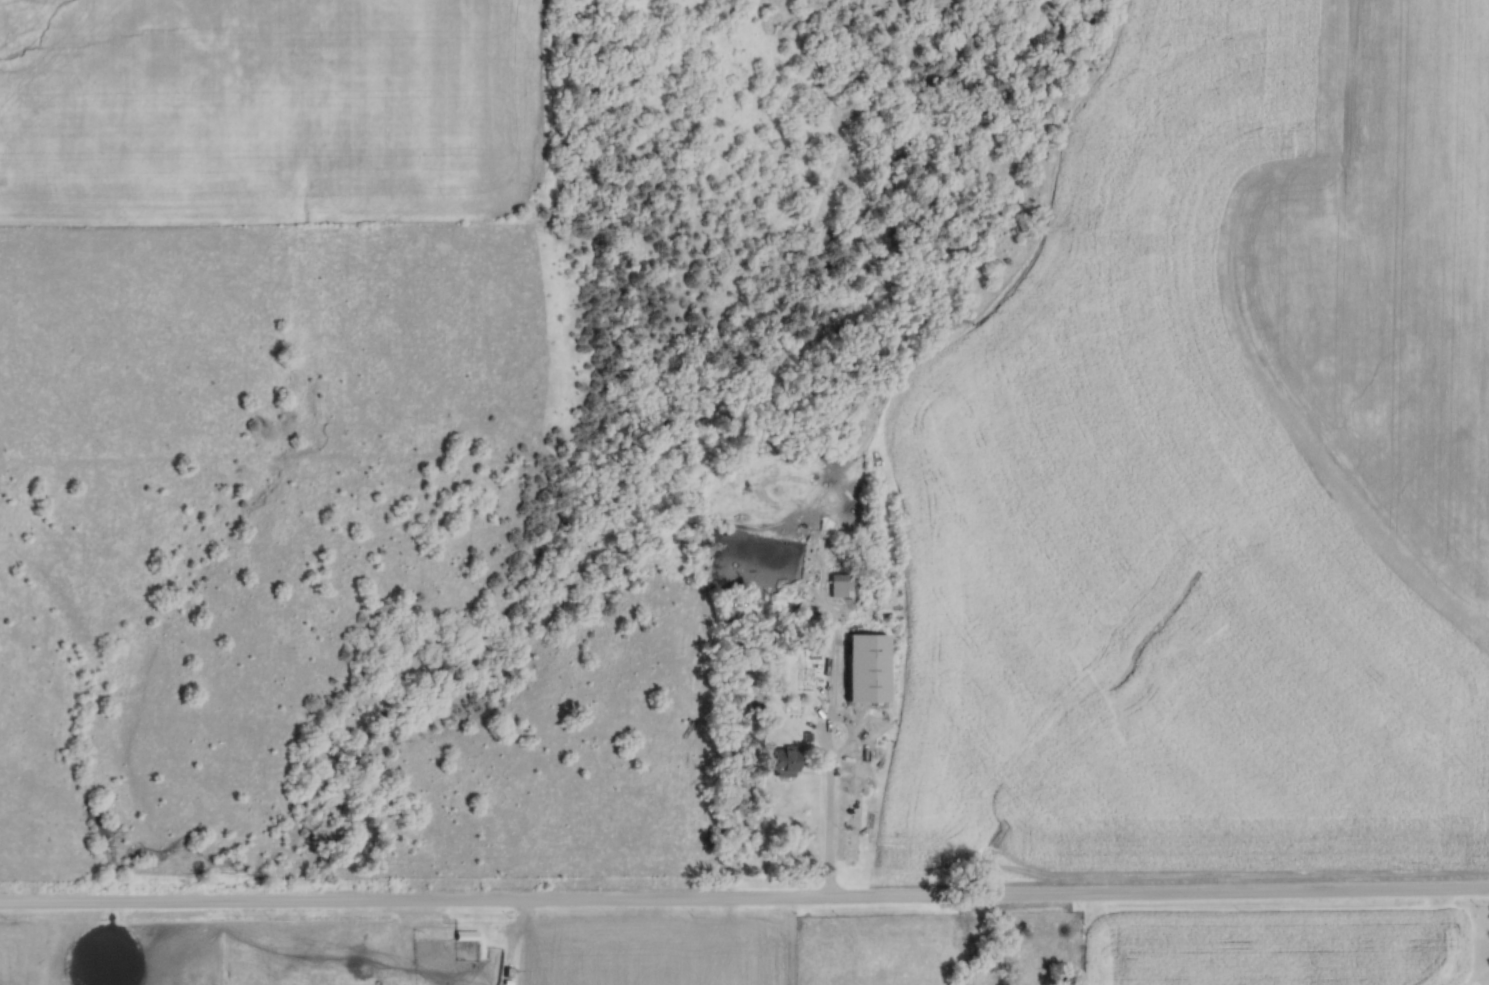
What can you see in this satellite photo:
building: (733, 533)
building: (841, 585)
building: (860, 667)
road: (828, 723)
building: (779, 762)
road: (744, 898)
building: (462, 935)

